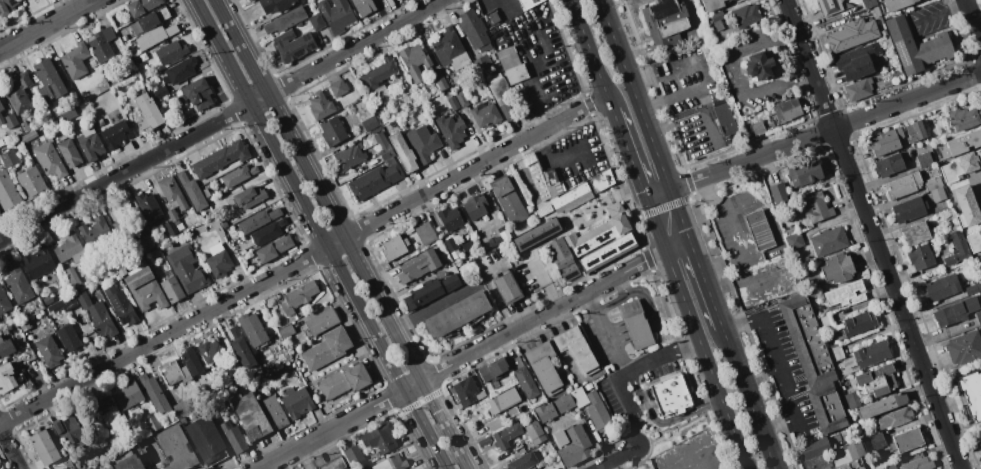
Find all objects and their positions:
building: (249, 0)
building: (251, 0)
building: (530, 3)
building: (868, 3)
building: (712, 4)
building: (895, 4)
building: (275, 5)
building: (142, 6)
building: (830, 6)
building: (6, 7)
building: (364, 7)
building: (872, 12)
building: (336, 15)
building: (746, 15)
building: (717, 16)
building: (494, 17)
building: (151, 20)
building: (286, 20)
road: (973, 20)
building: (316, 21)
building: (665, 22)
road: (44, 24)
building: (718, 24)
building: (476, 31)
building: (852, 34)
building: (156, 36)
building: (125, 37)
building: (103, 44)
building: (293, 45)
building: (916, 46)
road: (353, 47)
building: (451, 49)
building: (171, 52)
road: (593, 55)
building: (143, 58)
building: (76, 61)
building: (415, 61)
building: (859, 61)
building: (93, 63)
building: (512, 65)
building: (759, 67)
building: (180, 70)
road: (660, 72)
building: (379, 73)
building: (49, 78)
building: (442, 78)
road: (697, 86)
building: (339, 87)
building: (858, 89)
building: (161, 92)
building: (198, 93)
building: (19, 94)
road: (669, 95)
building: (503, 96)
road: (258, 99)
building: (462, 99)
building: (453, 103)
building: (321, 104)
building: (1, 106)
building: (786, 110)
building: (148, 113)
building: (69, 114)
building: (486, 114)
road: (696, 114)
building: (724, 115)
road: (645, 118)
building: (963, 118)
building: (9, 120)
building: (101, 122)
building: (393, 122)
building: (370, 123)
building: (25, 127)
building: (758, 127)
building: (379, 129)
building: (451, 130)
building: (333, 131)
building: (915, 131)
road: (826, 133)
building: (116, 134)
building: (29, 136)
building: (886, 142)
building: (90, 143)
building: (423, 143)
building: (962, 144)
building: (384, 146)
building: (403, 152)
building: (69, 153)
road: (630, 155)
building: (350, 156)
building: (9, 158)
building: (221, 158)
building: (925, 159)
building: (50, 160)
building: (889, 165)
road: (475, 166)
building: (961, 166)
road: (125, 171)
building: (801, 172)
building: (238, 175)
building: (375, 180)
building: (538, 180)
building: (600, 180)
building: (30, 181)
building: (551, 181)
building: (904, 185)
building: (935, 188)
road: (317, 189)
building: (8, 191)
building: (192, 191)
building: (206, 193)
building: (779, 193)
road: (299, 194)
road: (660, 195)
building: (172, 197)
building: (249, 197)
building: (570, 198)
building: (509, 200)
building: (967, 206)
building: (149, 207)
building: (476, 207)
building: (815, 207)
building: (909, 209)
building: (949, 212)
building: (497, 217)
building: (451, 218)
building: (259, 220)
building: (224, 224)
building: (180, 226)
building: (170, 227)
building: (952, 227)
building: (118, 228)
building: (94, 231)
building: (761, 231)
building: (269, 232)
building: (191, 233)
building: (536, 233)
building: (426, 234)
building: (502, 234)
road: (874, 234)
building: (916, 234)
road: (738, 235)
building: (794, 237)
building: (602, 239)
building: (829, 241)
building: (143, 242)
road: (335, 242)
building: (974, 242)
road: (677, 243)
building: (238, 244)
building: (451, 244)
building: (394, 247)
building: (70, 248)
building: (274, 248)
building: (957, 248)
building: (456, 254)
building: (921, 257)
building: (563, 259)
building: (242, 260)
building: (486, 260)
building: (38, 262)
building: (978, 262)
building: (219, 263)
building: (419, 266)
building: (187, 268)
building: (838, 268)
building: (119, 270)
building: (73, 277)
road: (542, 279)
building: (451, 281)
road: (705, 281)
building: (17, 284)
road: (622, 284)
road: (751, 286)
building: (942, 287)
building: (973, 287)
building: (144, 288)
building: (508, 288)
building: (172, 289)
road: (491, 291)
road: (631, 292)
building: (846, 294)
building: (424, 295)
building: (299, 297)
building: (48, 300)
building: (4, 302)
building: (69, 302)
road: (590, 302)
building: (121, 305)
road: (432, 306)
building: (956, 311)
building: (457, 314)
road: (542, 314)
building: (97, 315)
building: (978, 316)
building: (323, 321)
building: (825, 321)
road: (650, 323)
building: (860, 323)
building: (635, 324)
building: (25, 326)
road: (637, 327)
building: (253, 330)
building: (14, 331)
building: (287, 331)
road: (163, 334)
road: (617, 334)
road: (697, 334)
building: (69, 338)
parking lot: (603, 339)
building: (806, 340)
road: (610, 342)
road: (688, 343)
building: (6, 347)
building: (964, 347)
building: (241, 348)
building: (327, 349)
building: (576, 350)
building: (49, 351)
building: (211, 352)
building: (836, 352)
building: (866, 357)
building: (192, 362)
parking lot: (656, 363)
road: (662, 366)
building: (544, 367)
road: (779, 367)
road: (632, 370)
building: (494, 371)
road: (678, 371)
building: (174, 372)
building: (524, 377)
building: (7, 379)
building: (262, 379)
building: (345, 380)
building: (878, 380)
road: (411, 384)
building: (589, 386)
building: (466, 390)
building: (971, 393)
building: (128, 394)
building: (154, 394)
building: (670, 395)
road: (748, 397)
parking lot: (619, 399)
building: (853, 399)
building: (580, 400)
building: (298, 401)
building: (505, 403)
building: (564, 403)
building: (106, 404)
building: (882, 405)
road: (638, 406)
building: (828, 408)
building: (180, 409)
building: (275, 412)
building: (545, 412)
building: (597, 412)
building: (250, 416)
building: (894, 418)
road: (664, 421)
building: (153, 423)
road: (443, 424)
building: (494, 424)
road: (680, 425)
road: (330, 428)
road: (425, 428)
building: (69, 429)
building: (535, 432)
building: (506, 435)
building: (234, 437)
building: (837, 437)
building: (980, 437)
building: (380, 438)
building: (206, 440)
building: (907, 440)
building: (484, 442)
building: (876, 442)
building: (980, 443)
building: (571, 444)
building: (44, 446)
road: (10, 448)
building: (176, 448)
building: (816, 448)
building: (838, 452)
building: (354, 454)
road: (615, 457)
building: (852, 457)
building: (128, 461)
building: (523, 461)
building: (388, 463)
building: (335, 464)
building: (919, 464)
building: (891, 467)
building: (62, 468)
building: (63, 468)
building: (533, 468)
building: (883, 468)

